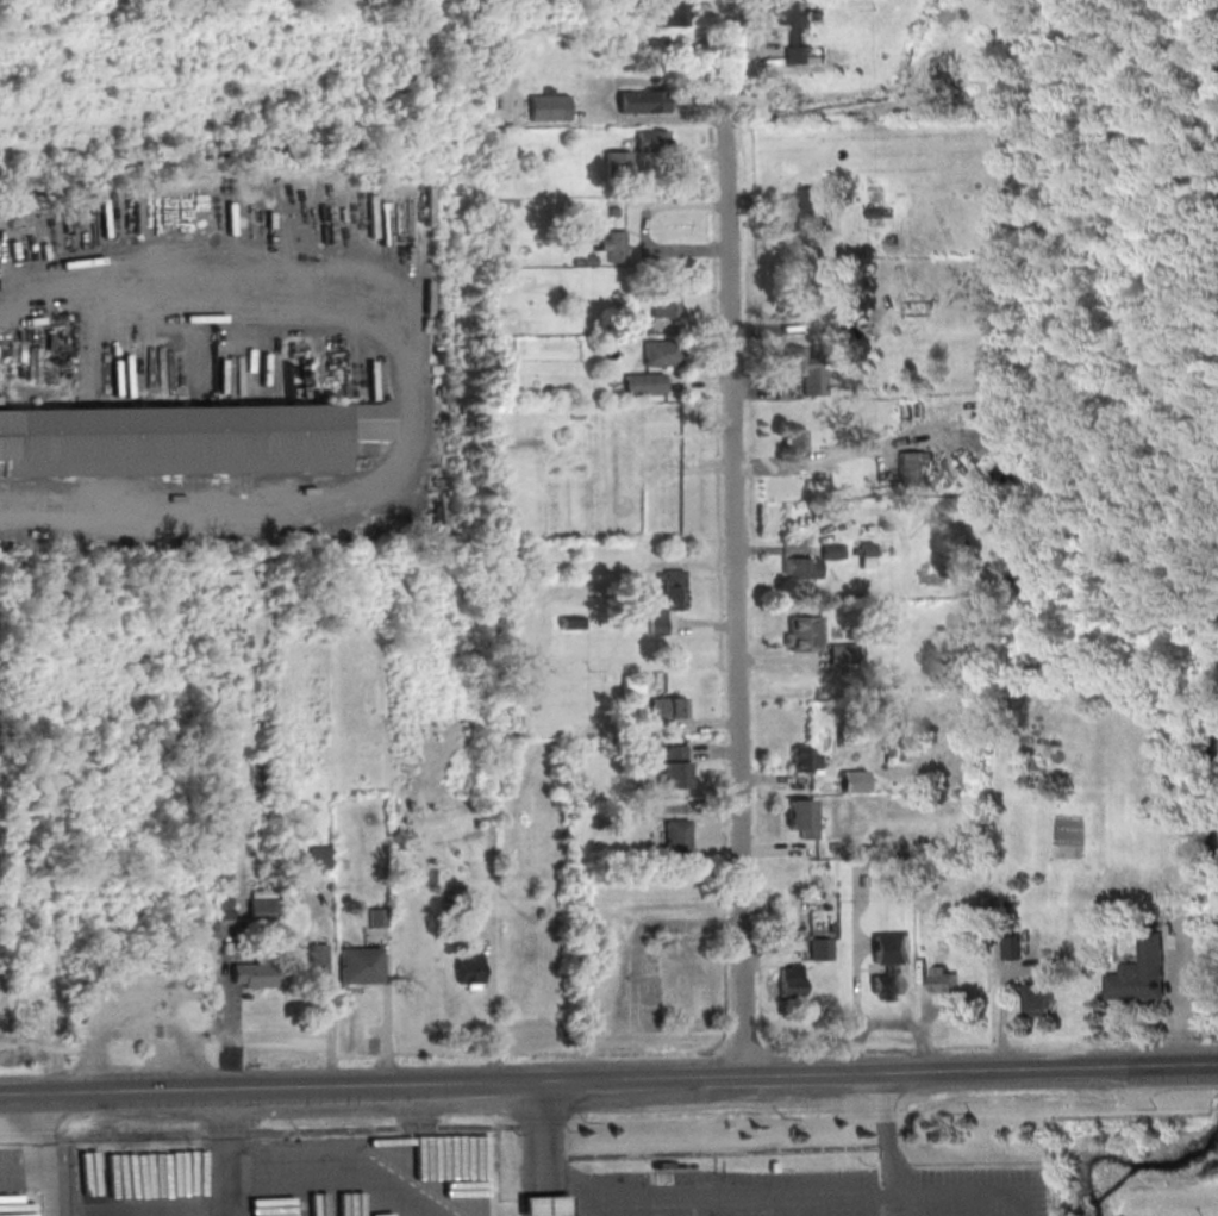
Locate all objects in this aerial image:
building: (674, 15)
building: (794, 27)
building: (641, 101)
building: (546, 108)
building: (651, 141)
building: (616, 164)
building: (798, 211)
building: (873, 212)
building: (502, 222)
building: (613, 245)
building: (583, 260)
building: (664, 305)
building: (637, 324)
building: (661, 354)
building: (805, 370)
building: (643, 385)
road: (418, 399)
building: (183, 438)
building: (797, 441)
building: (911, 469)
road: (732, 537)
building: (832, 551)
building: (800, 568)
building: (664, 601)
building: (571, 622)
building: (805, 635)
building: (842, 654)
building: (631, 684)
building: (667, 707)
building: (805, 759)
building: (674, 772)
building: (854, 781)
building: (801, 818)
building: (676, 838)
building: (224, 853)
building: (318, 859)
building: (261, 904)
building: (224, 909)
building: (376, 918)
building: (1012, 947)
building: (316, 958)
building: (888, 964)
building: (360, 967)
building: (468, 968)
building: (1139, 973)
building: (254, 974)
building: (791, 981)
building: (944, 981)
building: (1041, 998)
road: (137, 1014)
road: (1206, 1064)
road: (619, 1078)
road: (21, 1092)
road: (889, 1142)
road: (543, 1147)
road: (225, 1152)
road: (45, 1154)
road: (333, 1164)
road: (80, 1166)
road: (719, 1196)
road: (973, 1199)
building: (543, 1205)
road: (920, 1209)

